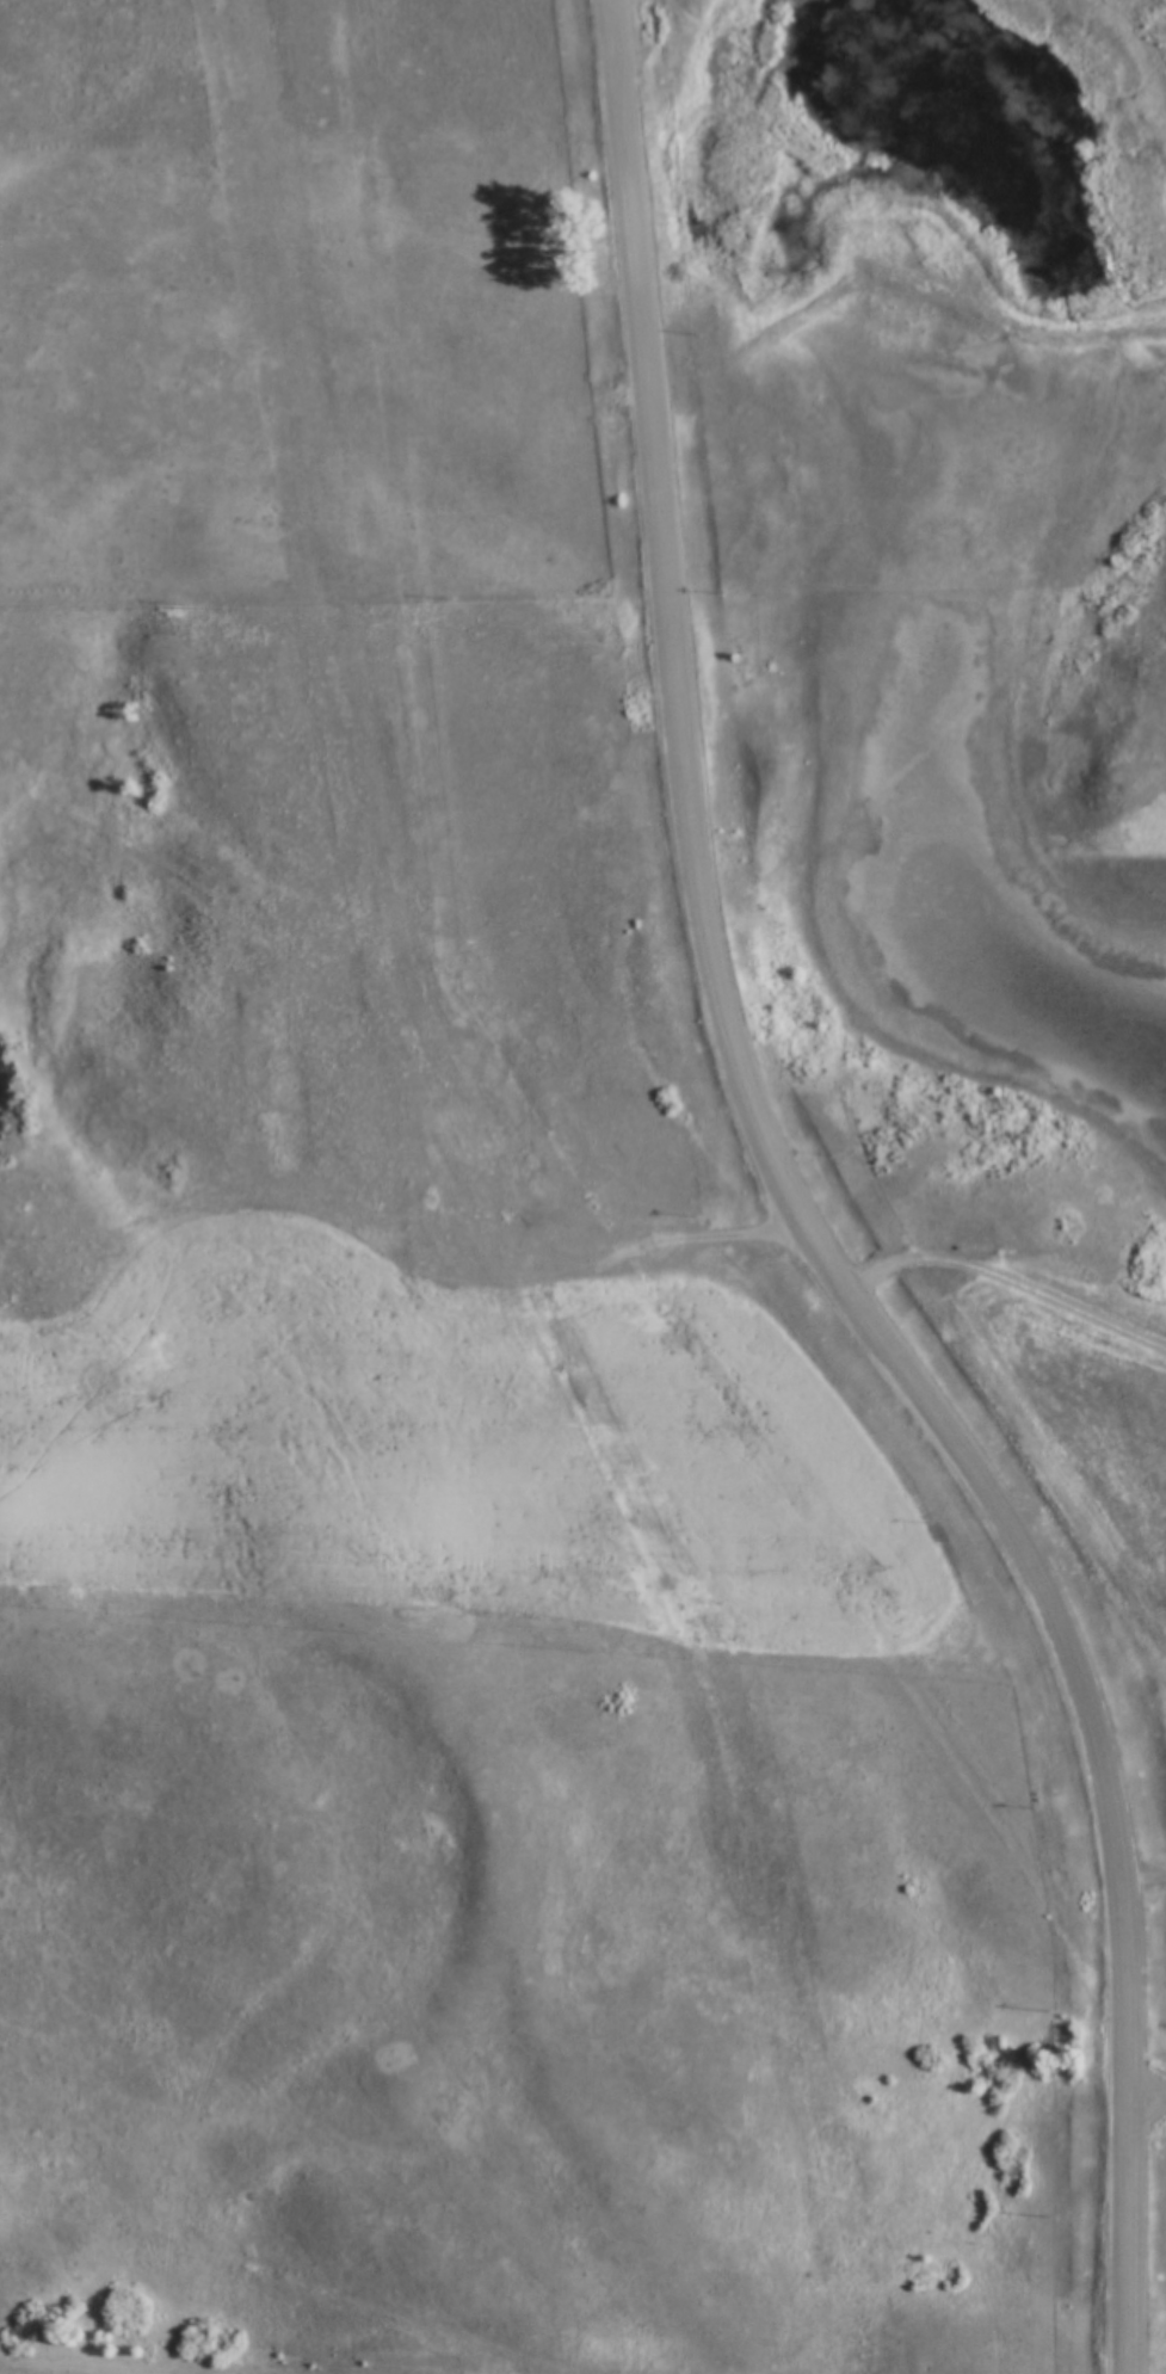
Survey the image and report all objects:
road: (792, 1220)
road: (674, 1264)
road: (1141, 1887)
road: (109, 2363)

